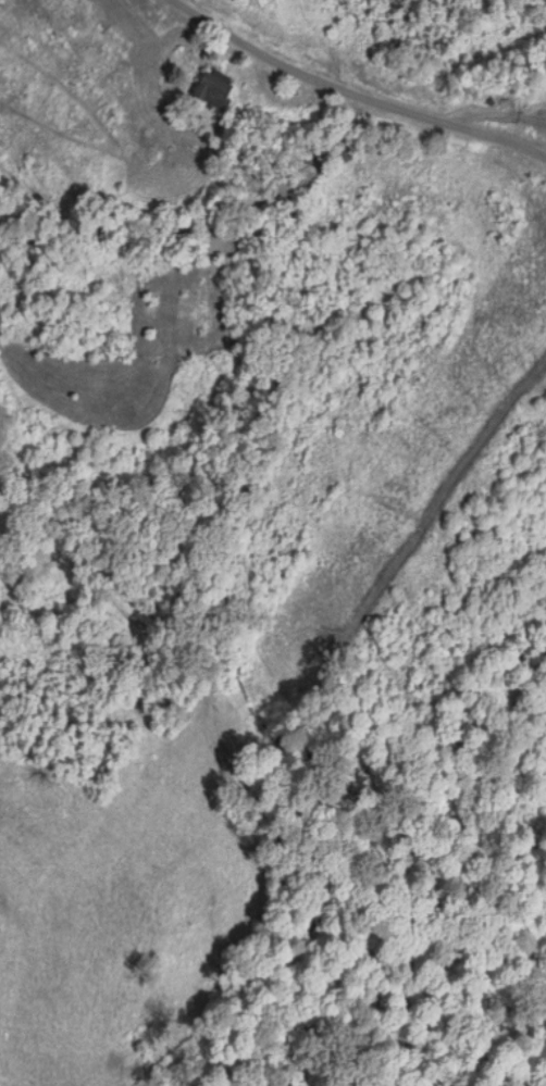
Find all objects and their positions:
building: (209, 91)
road: (359, 97)

